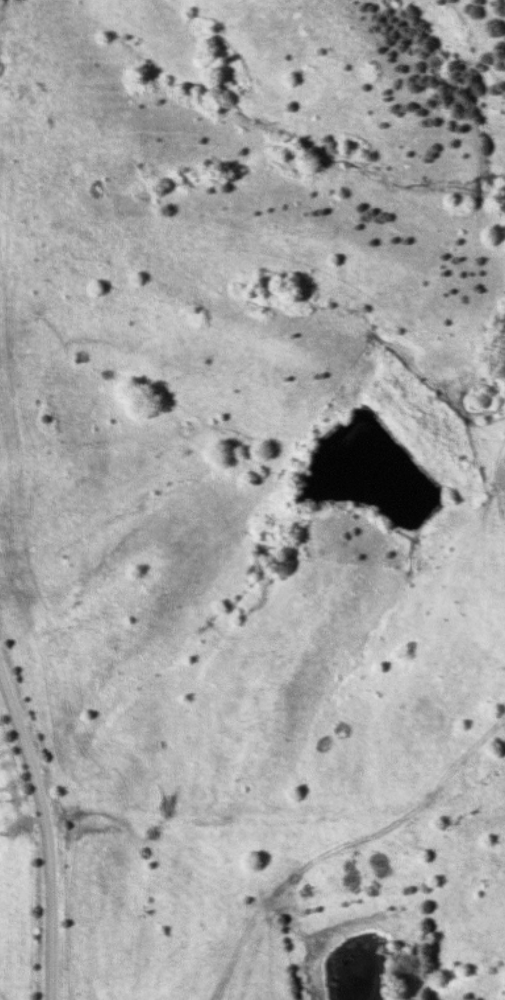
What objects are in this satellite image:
road: (42, 847)

